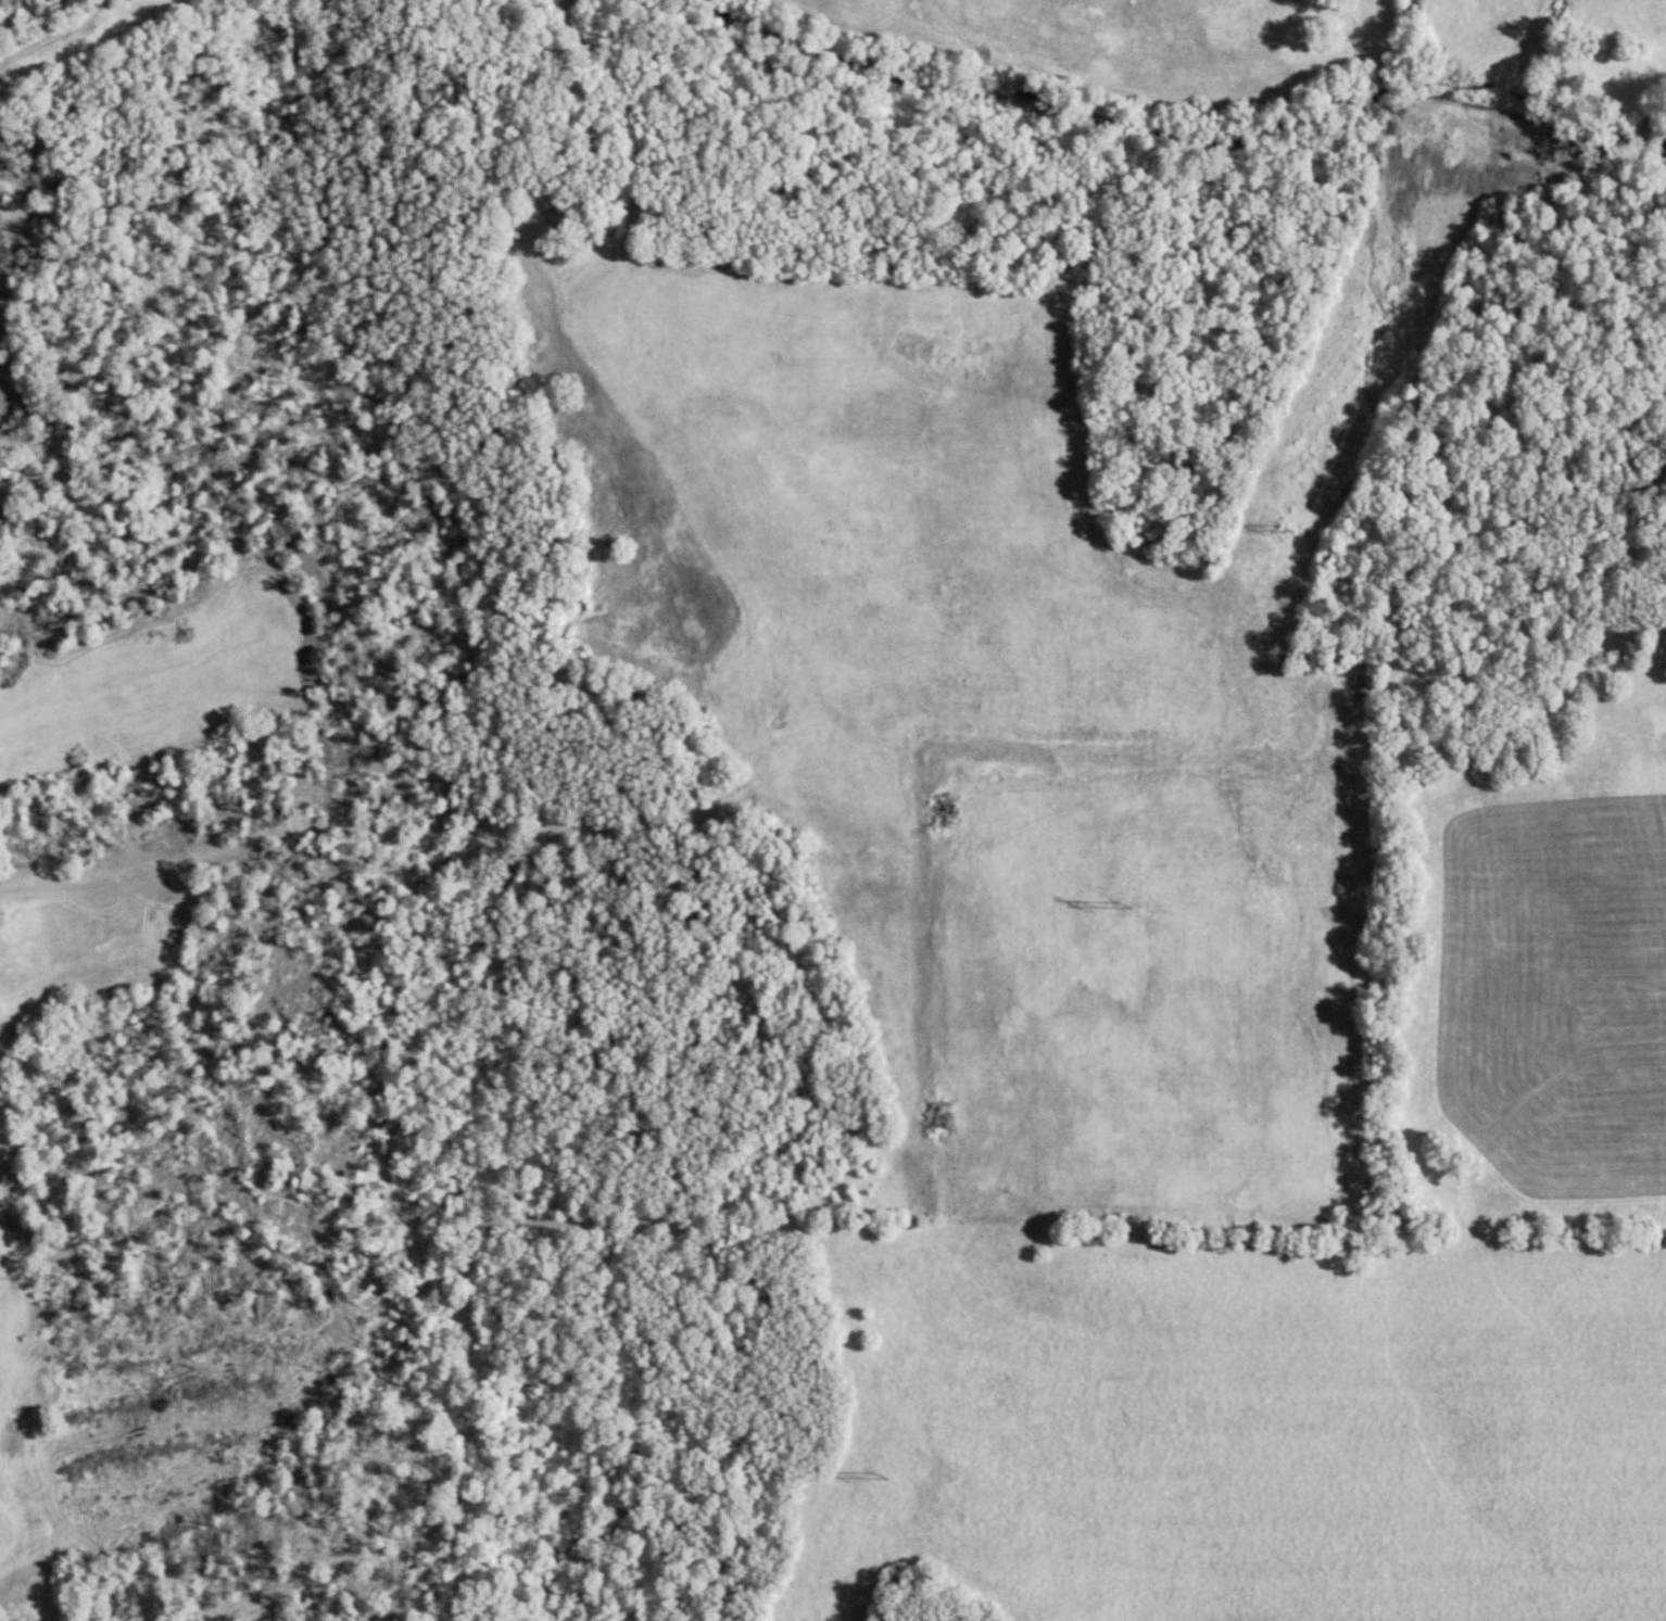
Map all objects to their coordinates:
power tower: (1285, 528)
power tower: (1125, 907)
power tower: (879, 1477)

